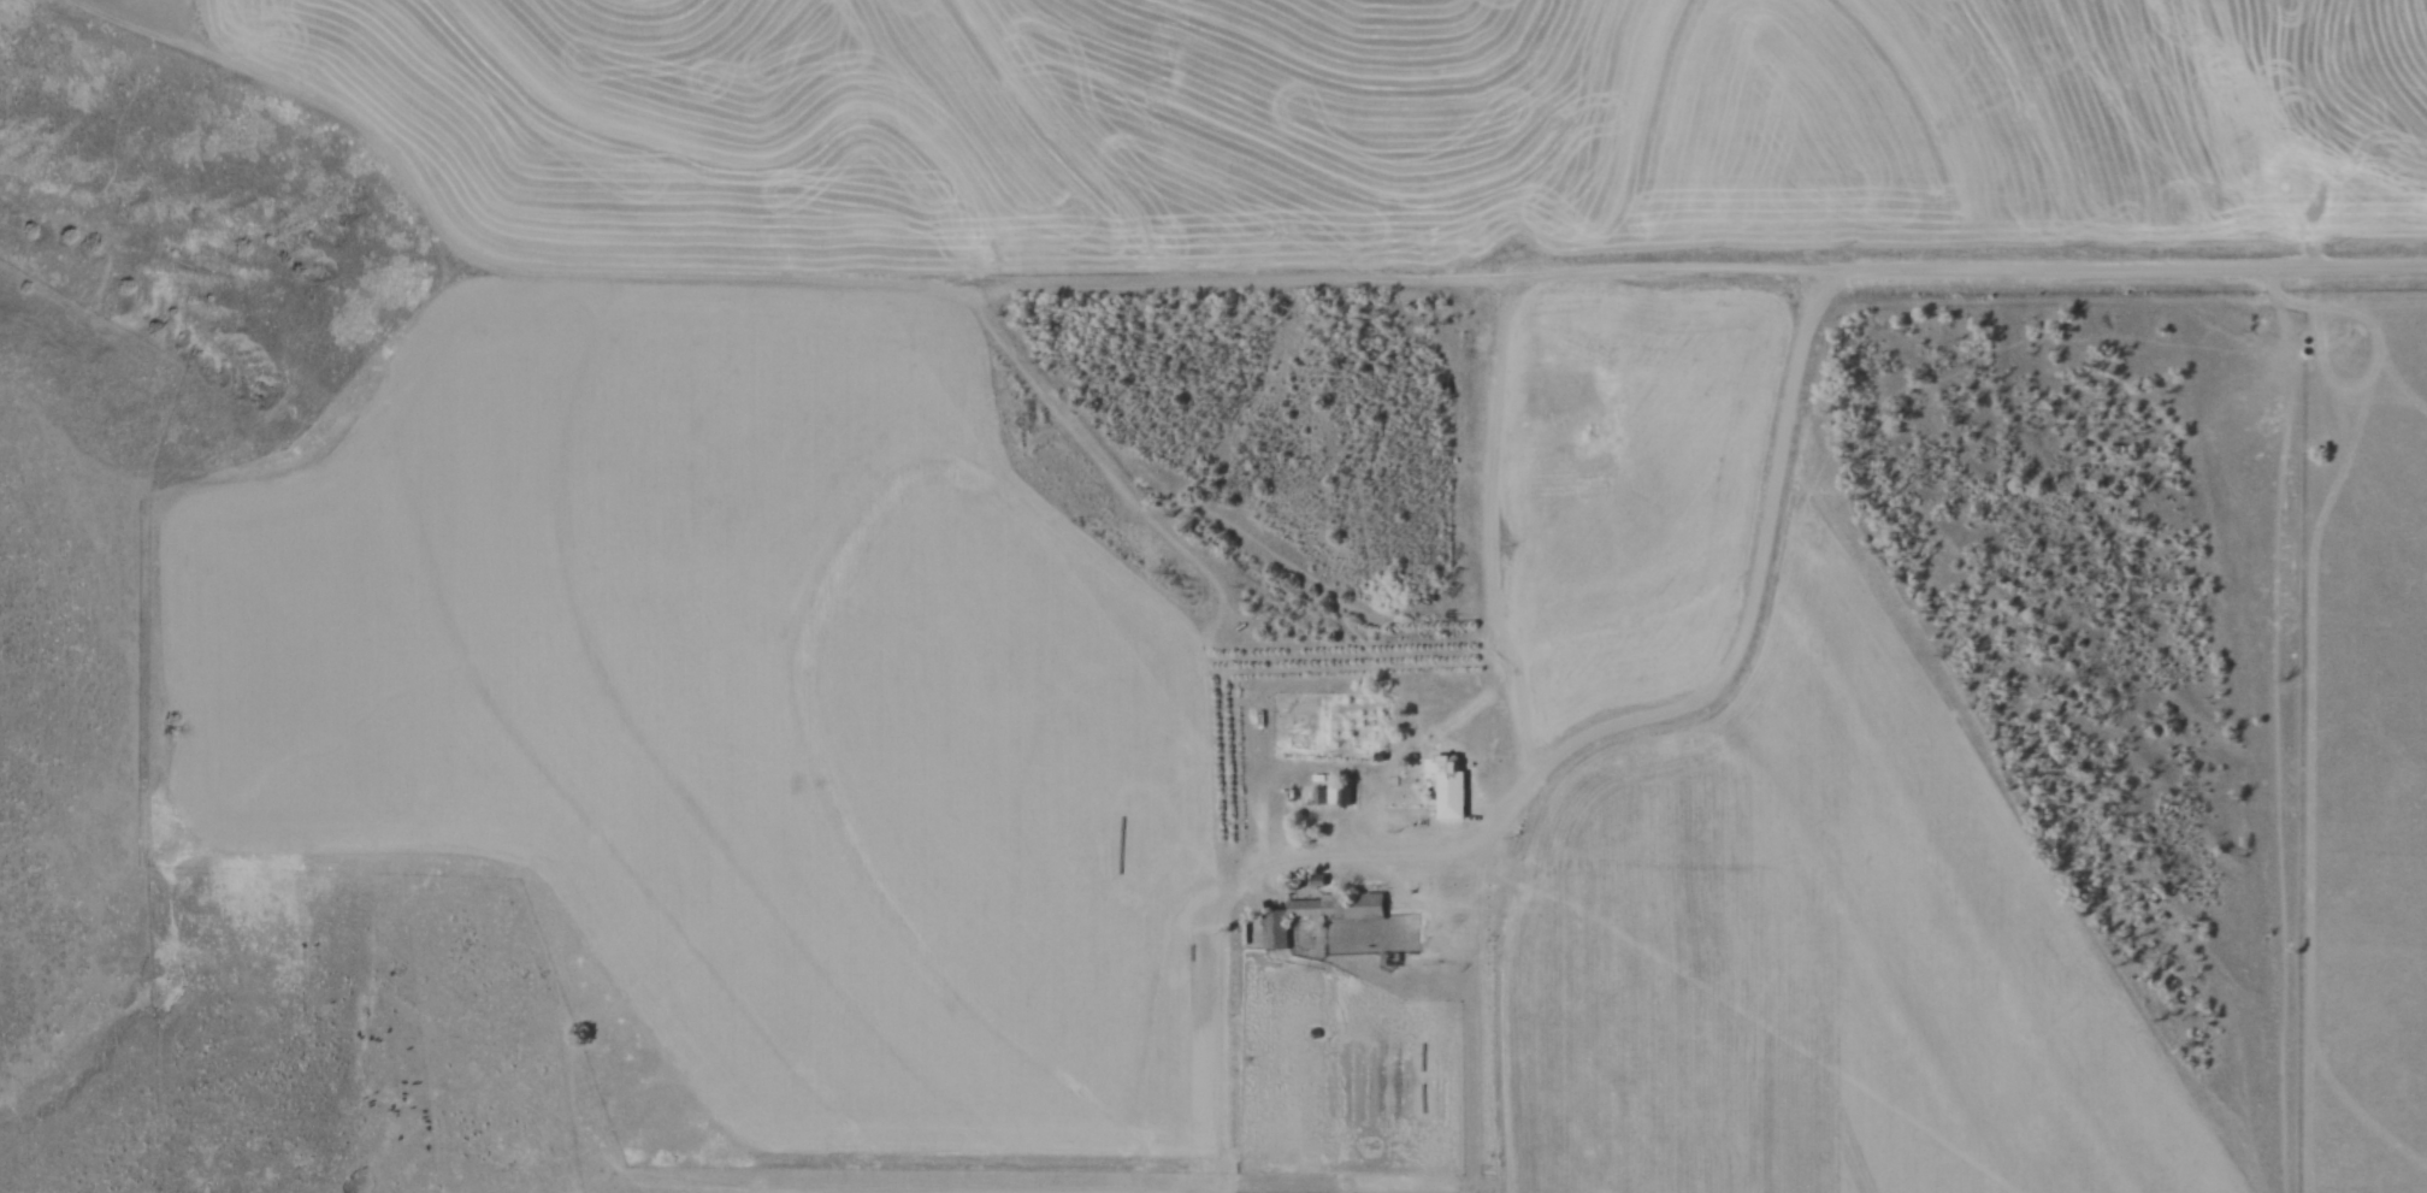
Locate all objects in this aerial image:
road: (1783, 266)
building: (1446, 785)
building: (1335, 793)
building: (1319, 913)
building: (1389, 958)

